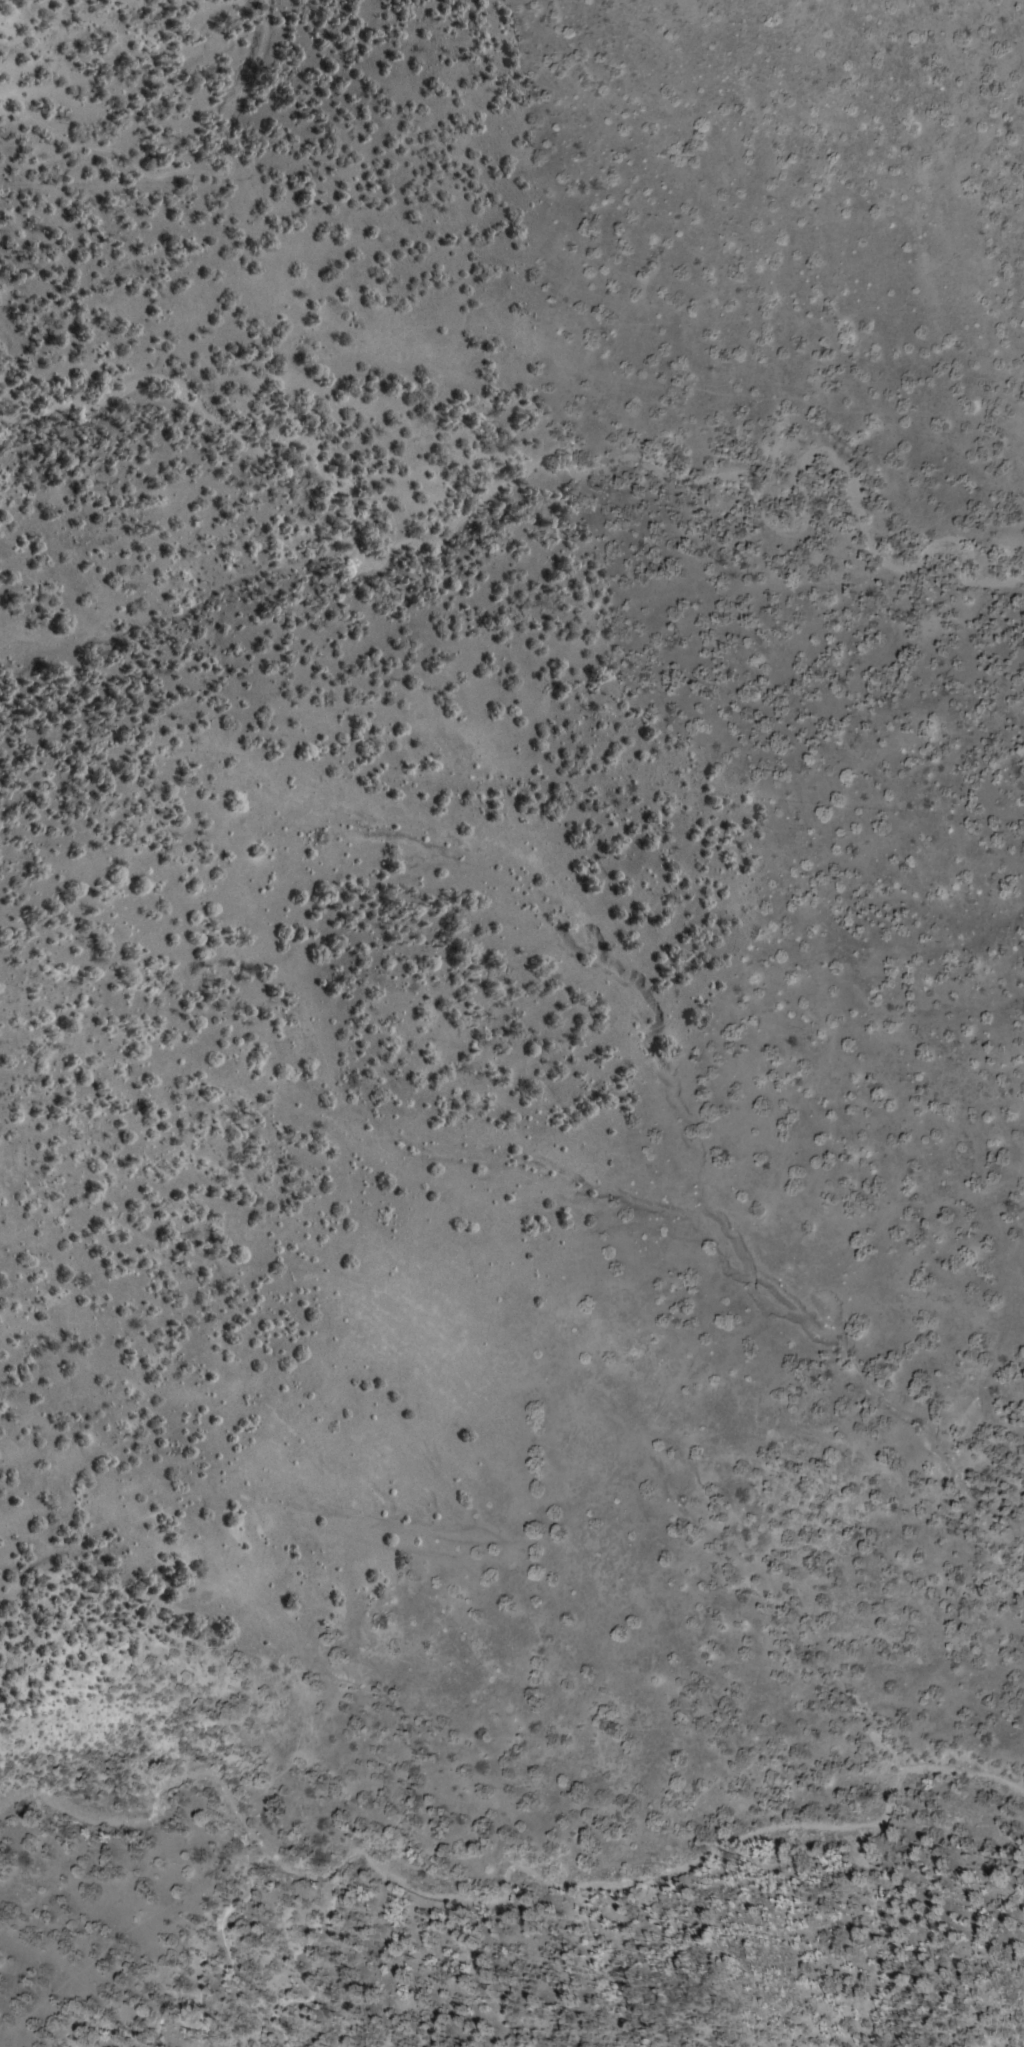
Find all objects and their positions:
road: (178, 172)

